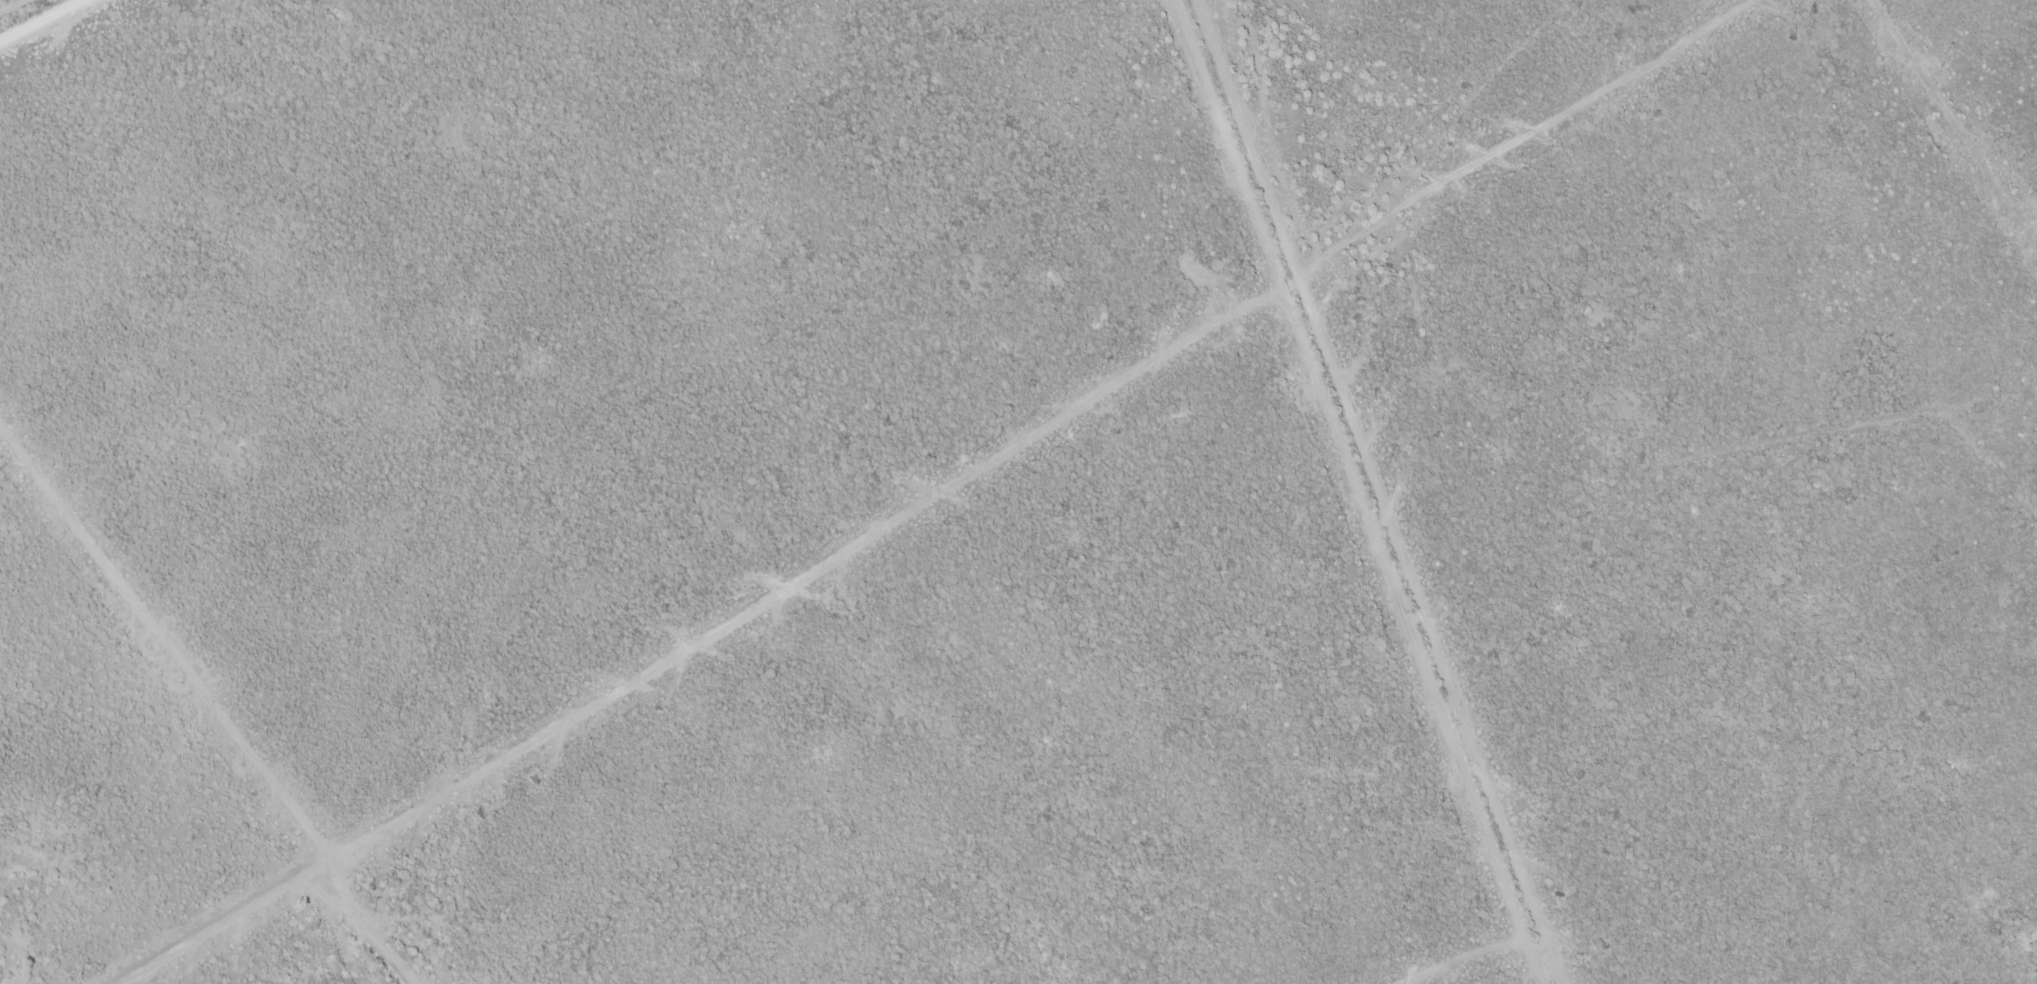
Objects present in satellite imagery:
road: (66, 5)
road: (27, 23)
road: (216, 704)

